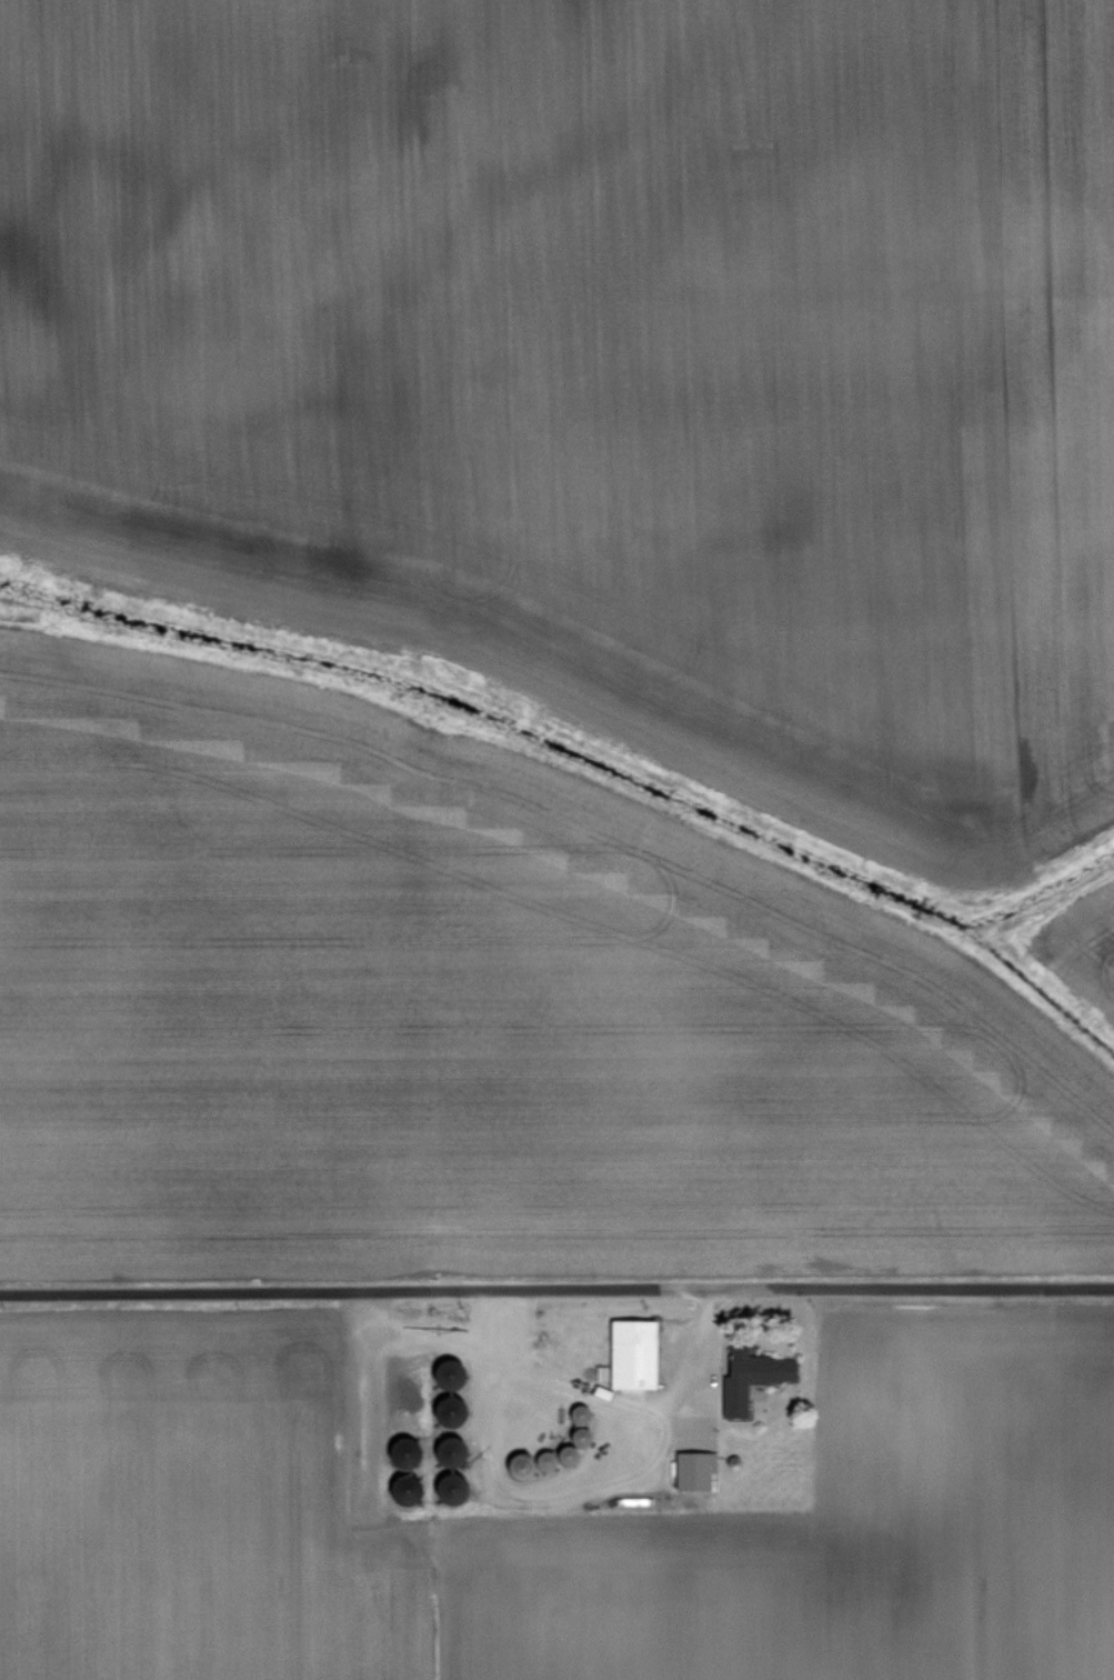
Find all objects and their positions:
road: (556, 1291)
building: (641, 1356)
road: (614, 1404)

